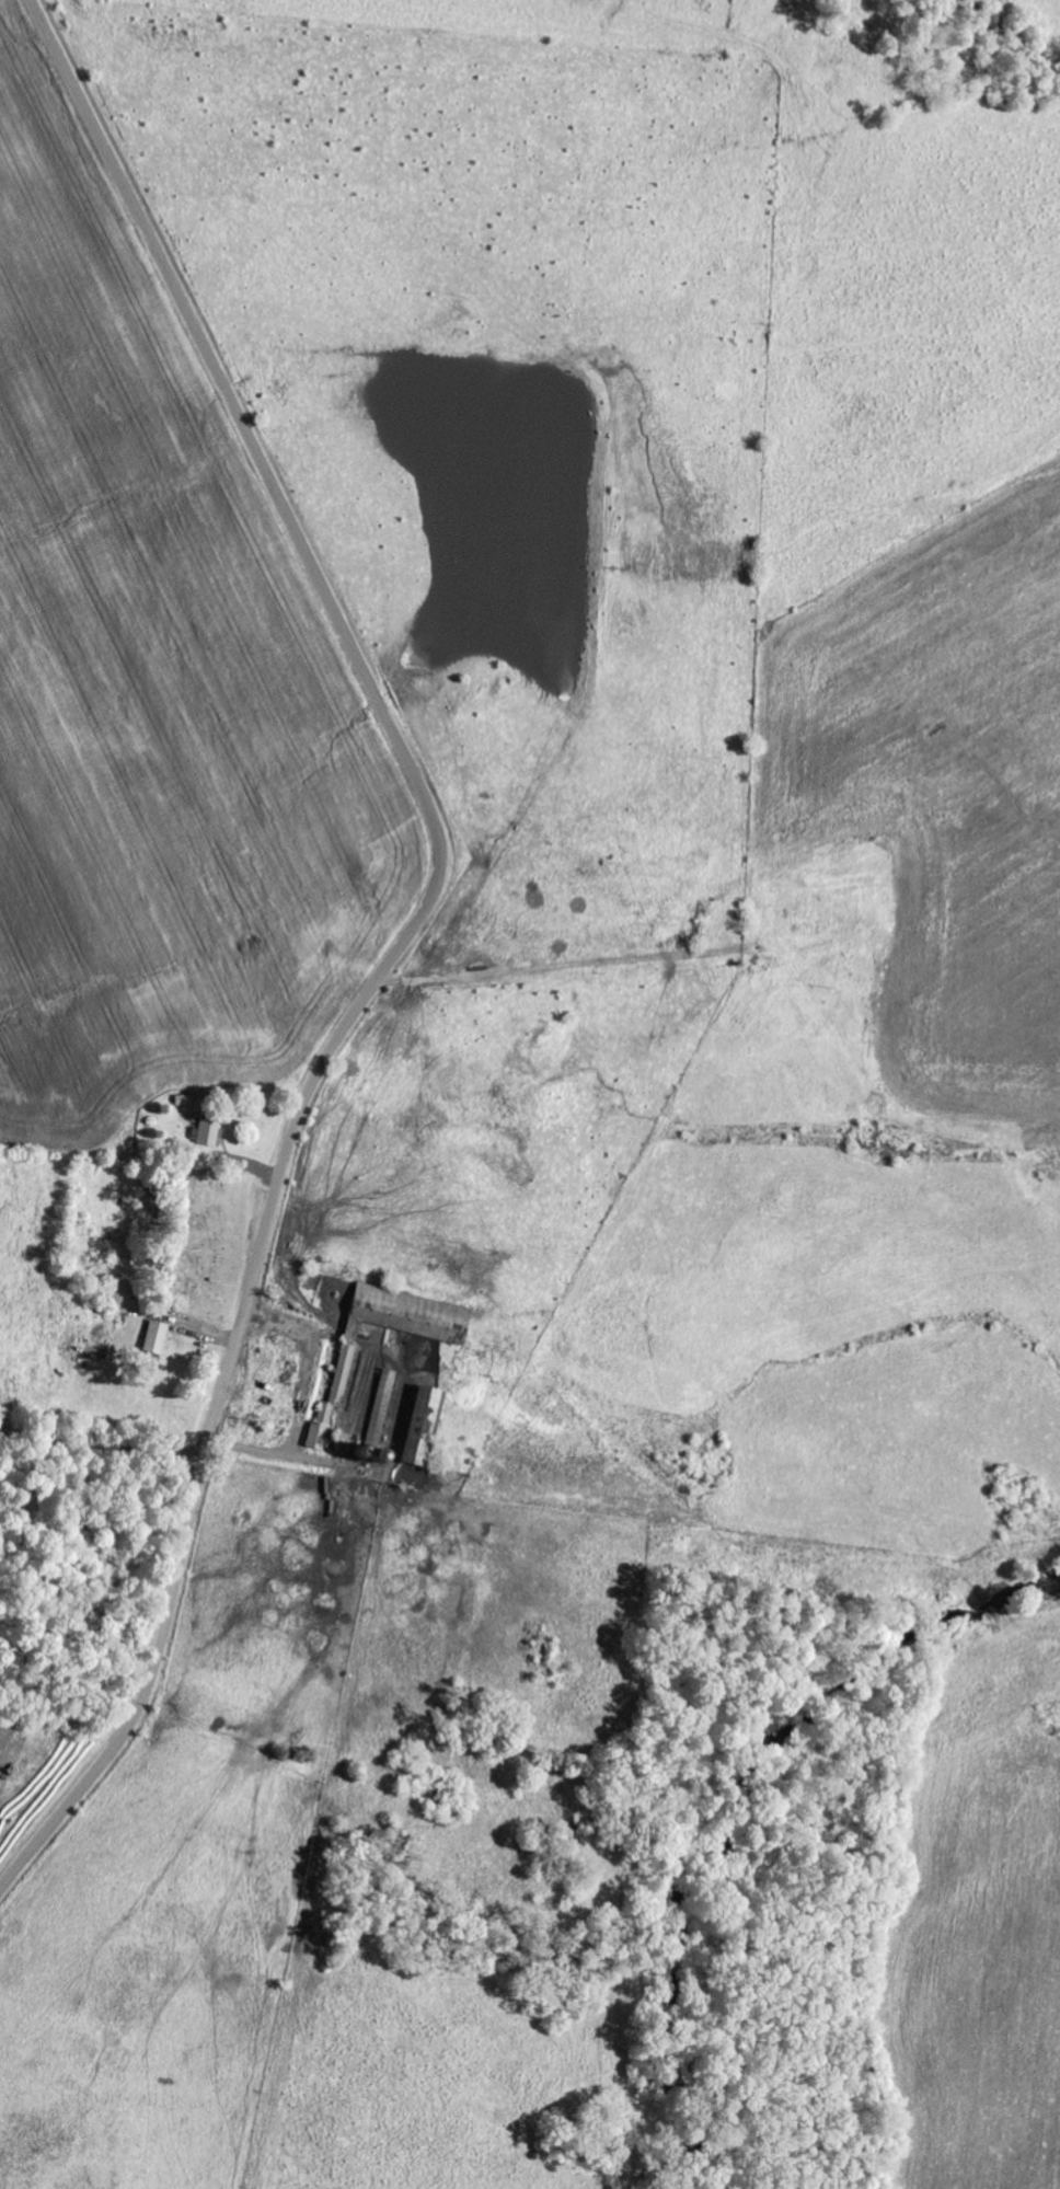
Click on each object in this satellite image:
road: (403, 940)
building: (209, 1132)
park: (201, 1243)
building: (400, 1324)
building: (158, 1339)
building: (419, 1427)
building: (323, 1431)

